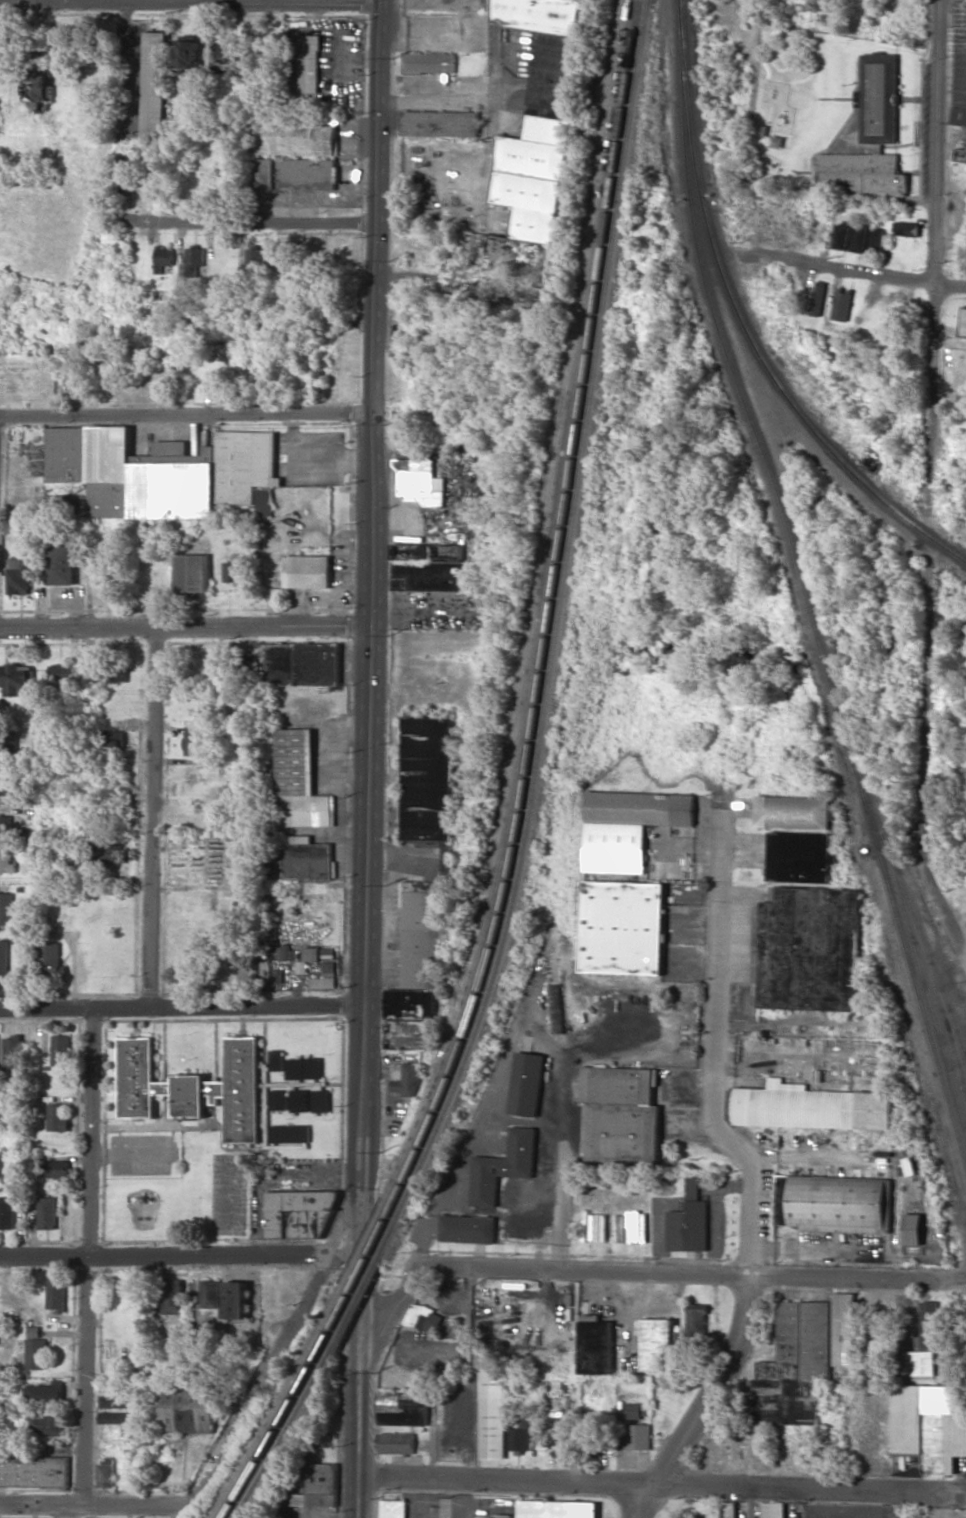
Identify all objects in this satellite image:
road: (66, 1)
railway: (680, 2)
road: (188, 3)
building: (444, 4)
building: (188, 57)
building: (226, 57)
building: (429, 62)
building: (959, 63)
building: (309, 64)
building: (155, 87)
building: (39, 89)
building: (878, 99)
building: (440, 123)
building: (535, 154)
building: (296, 155)
building: (961, 157)
building: (860, 173)
road: (483, 191)
road: (262, 227)
building: (907, 229)
building: (841, 237)
building: (876, 238)
building: (858, 239)
building: (164, 257)
building: (194, 261)
building: (254, 261)
railway: (702, 268)
road: (868, 274)
building: (819, 294)
building: (842, 304)
building: (963, 323)
railway: (745, 325)
building: (842, 347)
building: (218, 384)
road: (185, 416)
building: (161, 472)
road: (928, 483)
building: (264, 501)
road: (369, 502)
building: (61, 565)
building: (430, 568)
building: (308, 571)
building: (192, 574)
building: (20, 575)
building: (463, 599)
railway: (539, 610)
railway: (547, 620)
road: (183, 630)
railway: (555, 632)
building: (302, 663)
building: (108, 671)
building: (59, 672)
building: (15, 679)
building: (115, 741)
building: (196, 741)
building: (427, 778)
building: (301, 781)
building: (9, 782)
building: (793, 812)
road: (154, 819)
building: (628, 826)
building: (6, 828)
railway: (874, 846)
building: (113, 854)
building: (800, 857)
building: (308, 859)
building: (8, 863)
building: (6, 908)
building: (622, 928)
railway: (909, 938)
building: (807, 949)
railway: (926, 949)
building: (282, 952)
building: (311, 954)
building: (417, 954)
building: (50, 959)
building: (4, 961)
building: (278, 976)
building: (324, 978)
road: (181, 1008)
building: (555, 1009)
building: (61, 1050)
building: (12, 1052)
building: (276, 1060)
building: (313, 1068)
building: (294, 1069)
building: (411, 1080)
building: (526, 1084)
building: (195, 1087)
building: (278, 1099)
building: (299, 1100)
building: (321, 1101)
building: (809, 1107)
building: (620, 1114)
building: (57, 1117)
road: (360, 1128)
building: (289, 1134)
road: (743, 1155)
building: (502, 1167)
building: (57, 1169)
building: (834, 1204)
building: (7, 1213)
building: (47, 1213)
building: (299, 1213)
building: (689, 1222)
building: (467, 1229)
building: (913, 1229)
railway: (360, 1254)
road: (90, 1256)
road: (179, 1257)
railway: (360, 1271)
road: (630, 1271)
railway: (359, 1292)
building: (56, 1294)
building: (208, 1294)
road: (357, 1295)
building: (172, 1296)
building: (235, 1300)
building: (423, 1318)
building: (697, 1320)
building: (929, 1325)
building: (844, 1329)
building: (657, 1344)
building: (597, 1347)
building: (35, 1349)
building: (919, 1363)
building: (795, 1367)
road: (255, 1382)
building: (46, 1392)
building: (118, 1402)
building: (184, 1406)
road: (357, 1408)
building: (402, 1409)
railway: (274, 1411)
building: (633, 1411)
building: (493, 1415)
building: (118, 1418)
railway: (280, 1419)
building: (46, 1425)
building: (929, 1425)
railway: (283, 1429)
building: (520, 1437)
building: (638, 1437)
building: (396, 1443)
building: (33, 1472)
building: (105, 1473)
building: (317, 1486)
road: (657, 1486)
road: (356, 1498)
road: (648, 1502)
road: (95, 1503)
building: (393, 1509)
building: (557, 1509)
building: (729, 1510)
building: (773, 1510)
building: (506, 1516)
building: (706, 1516)

